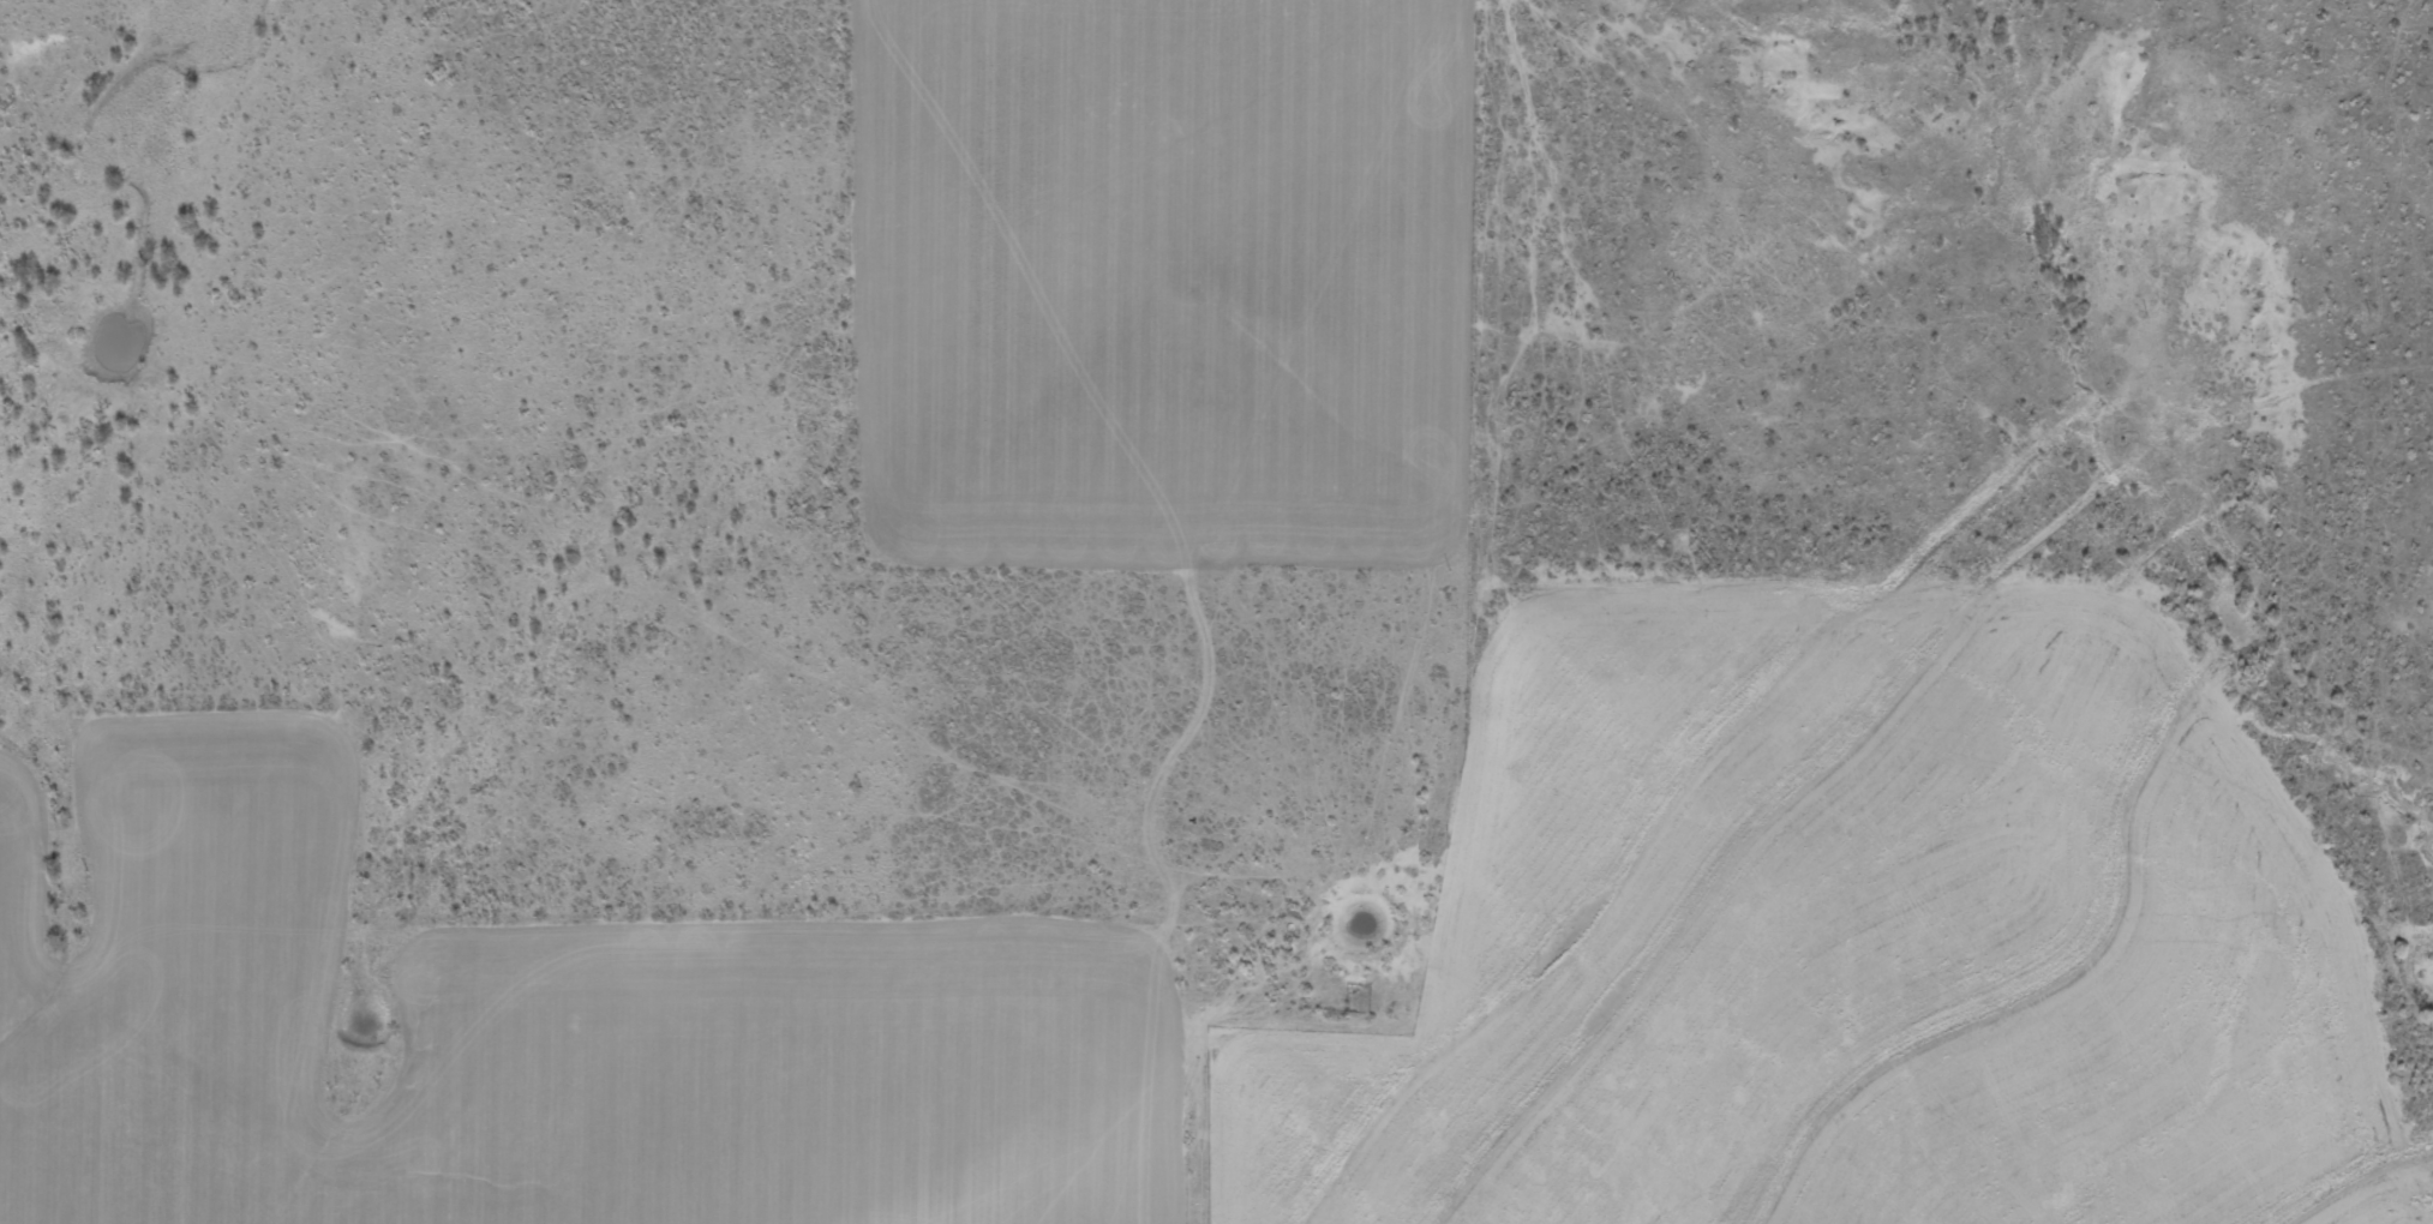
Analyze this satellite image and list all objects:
road: (1151, 1159)

